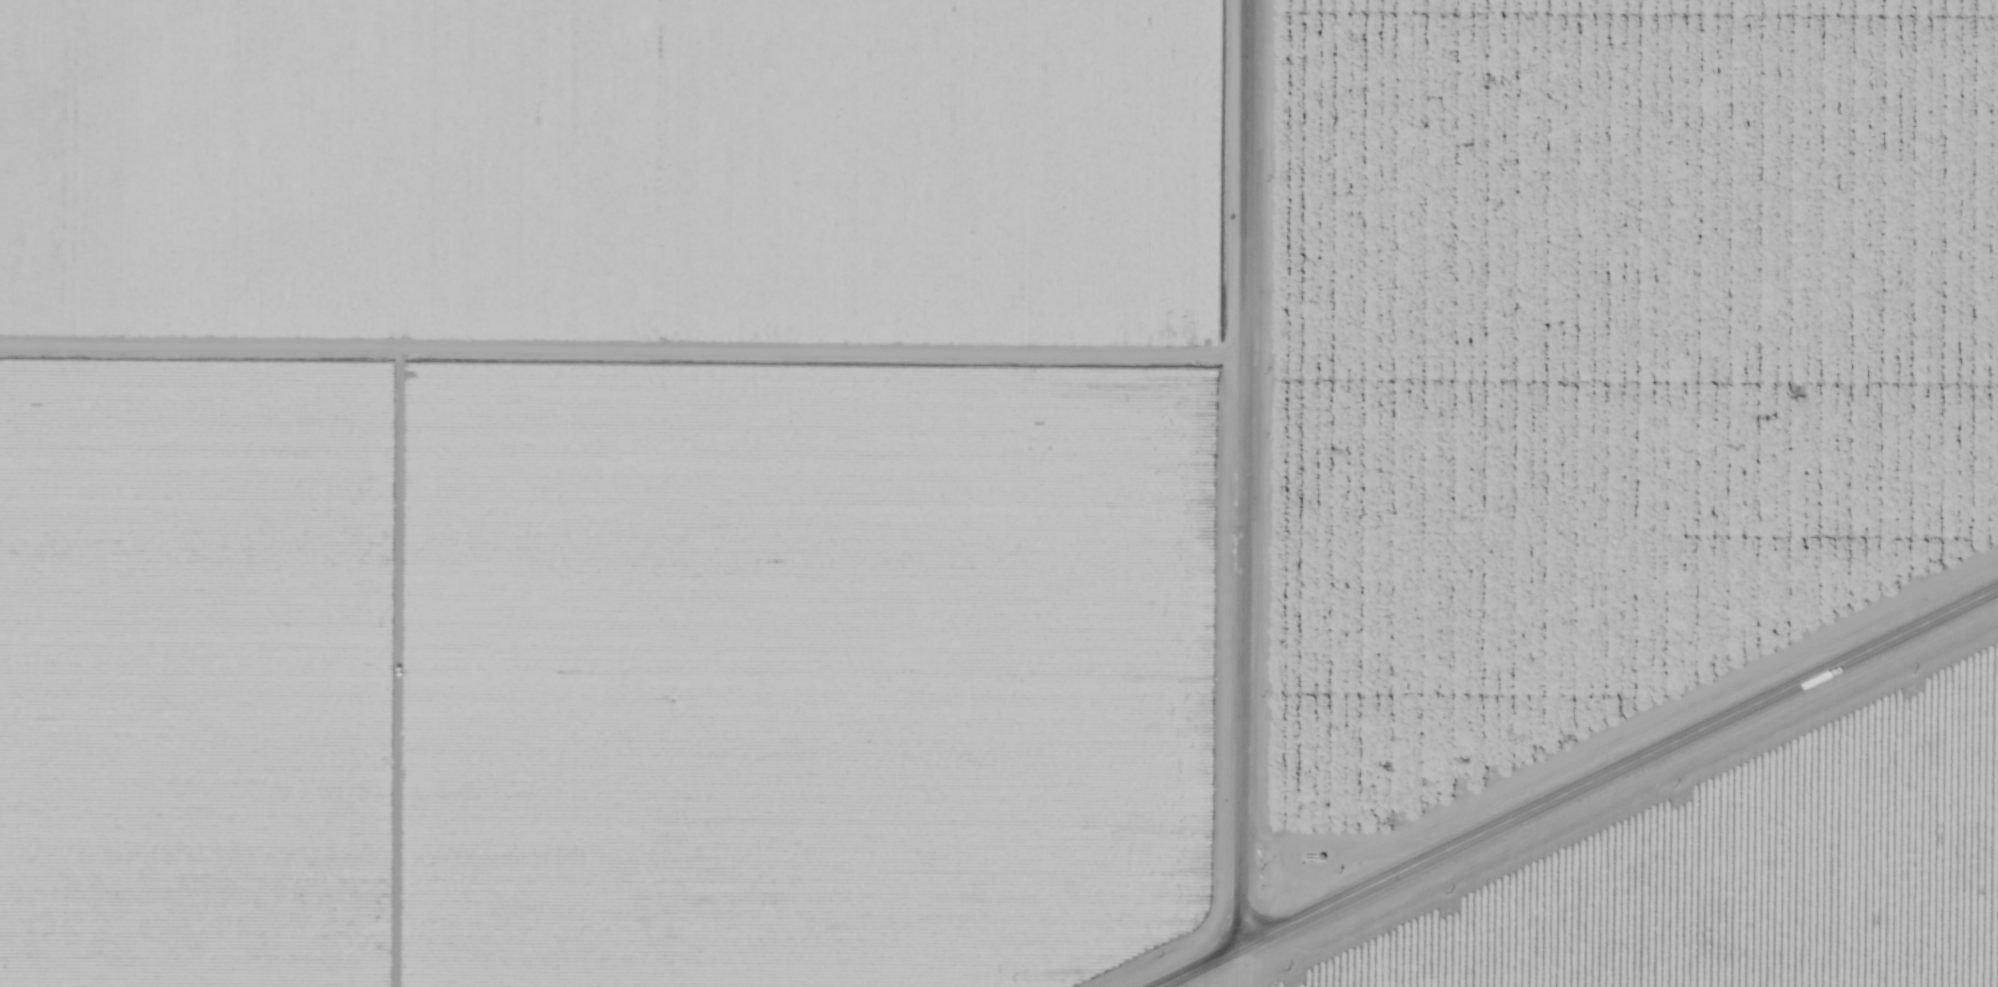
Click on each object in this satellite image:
crop: (639, 176)
crop: (1663, 182)
road: (621, 343)
road: (1241, 493)
crop: (1604, 546)
crop: (620, 664)
road: (1581, 790)

